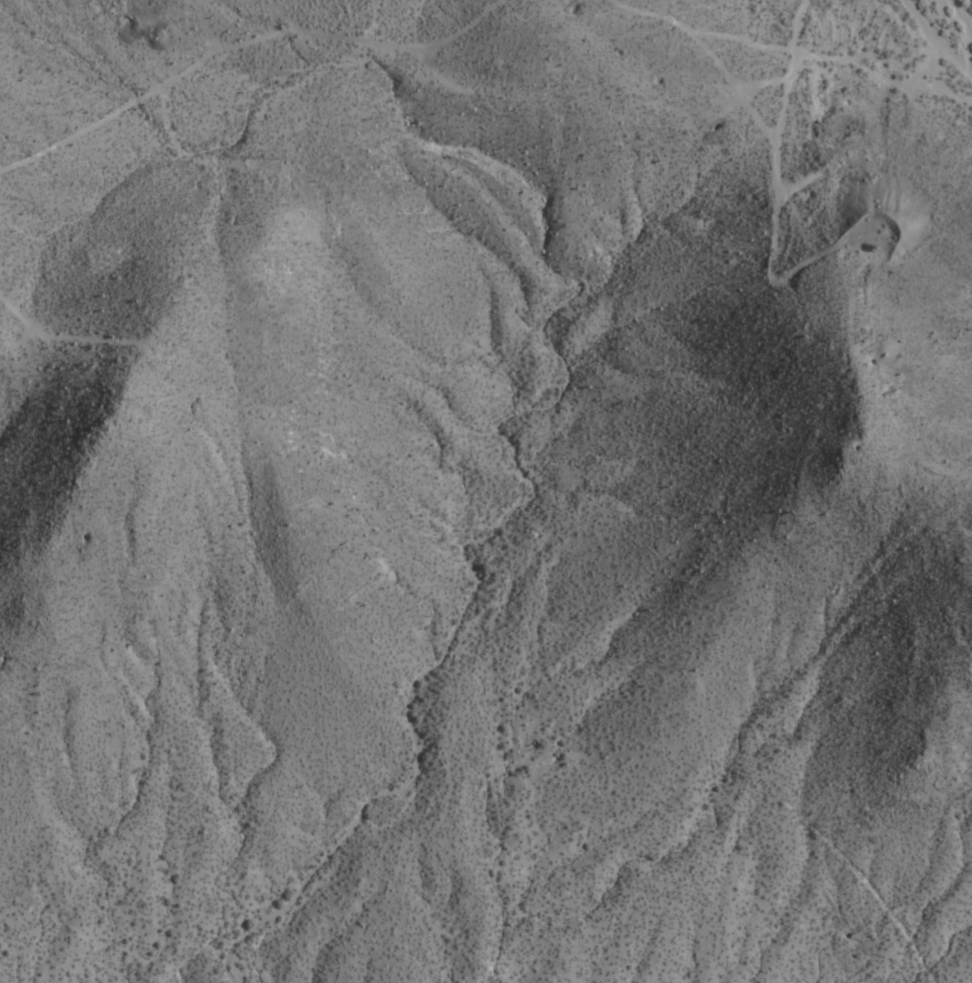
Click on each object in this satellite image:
road: (936, 37)
road: (788, 67)

